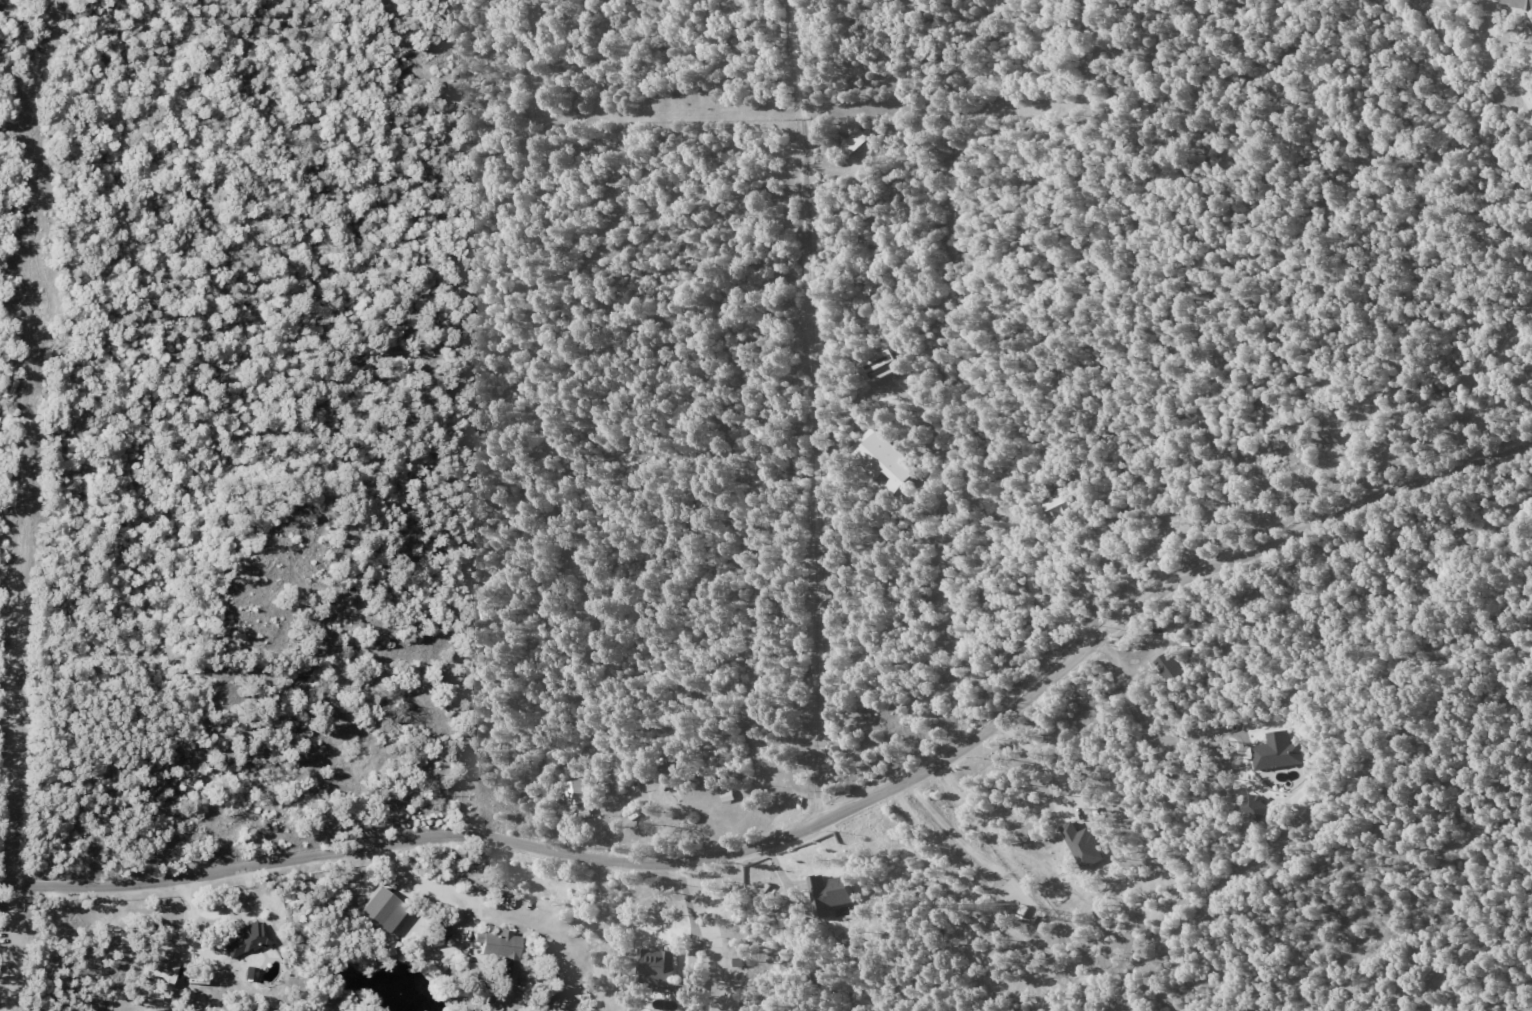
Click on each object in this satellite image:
building: (1519, 2)
road: (1492, 33)
road: (1525, 75)
road: (1526, 101)
building: (883, 366)
road: (1484, 379)
road: (814, 411)
building: (885, 459)
building: (1056, 505)
road: (949, 553)
road: (1082, 592)
building: (1169, 666)
road: (1144, 730)
building: (1277, 751)
road: (1043, 759)
building: (575, 792)
road: (648, 796)
building: (1255, 806)
road: (811, 828)
road: (966, 845)
building: (1082, 845)
road: (433, 887)
building: (829, 893)
building: (378, 911)
road: (690, 911)
building: (246, 940)
road: (46, 948)
building: (499, 951)
building: (156, 970)
building: (664, 974)
building: (732, 999)

